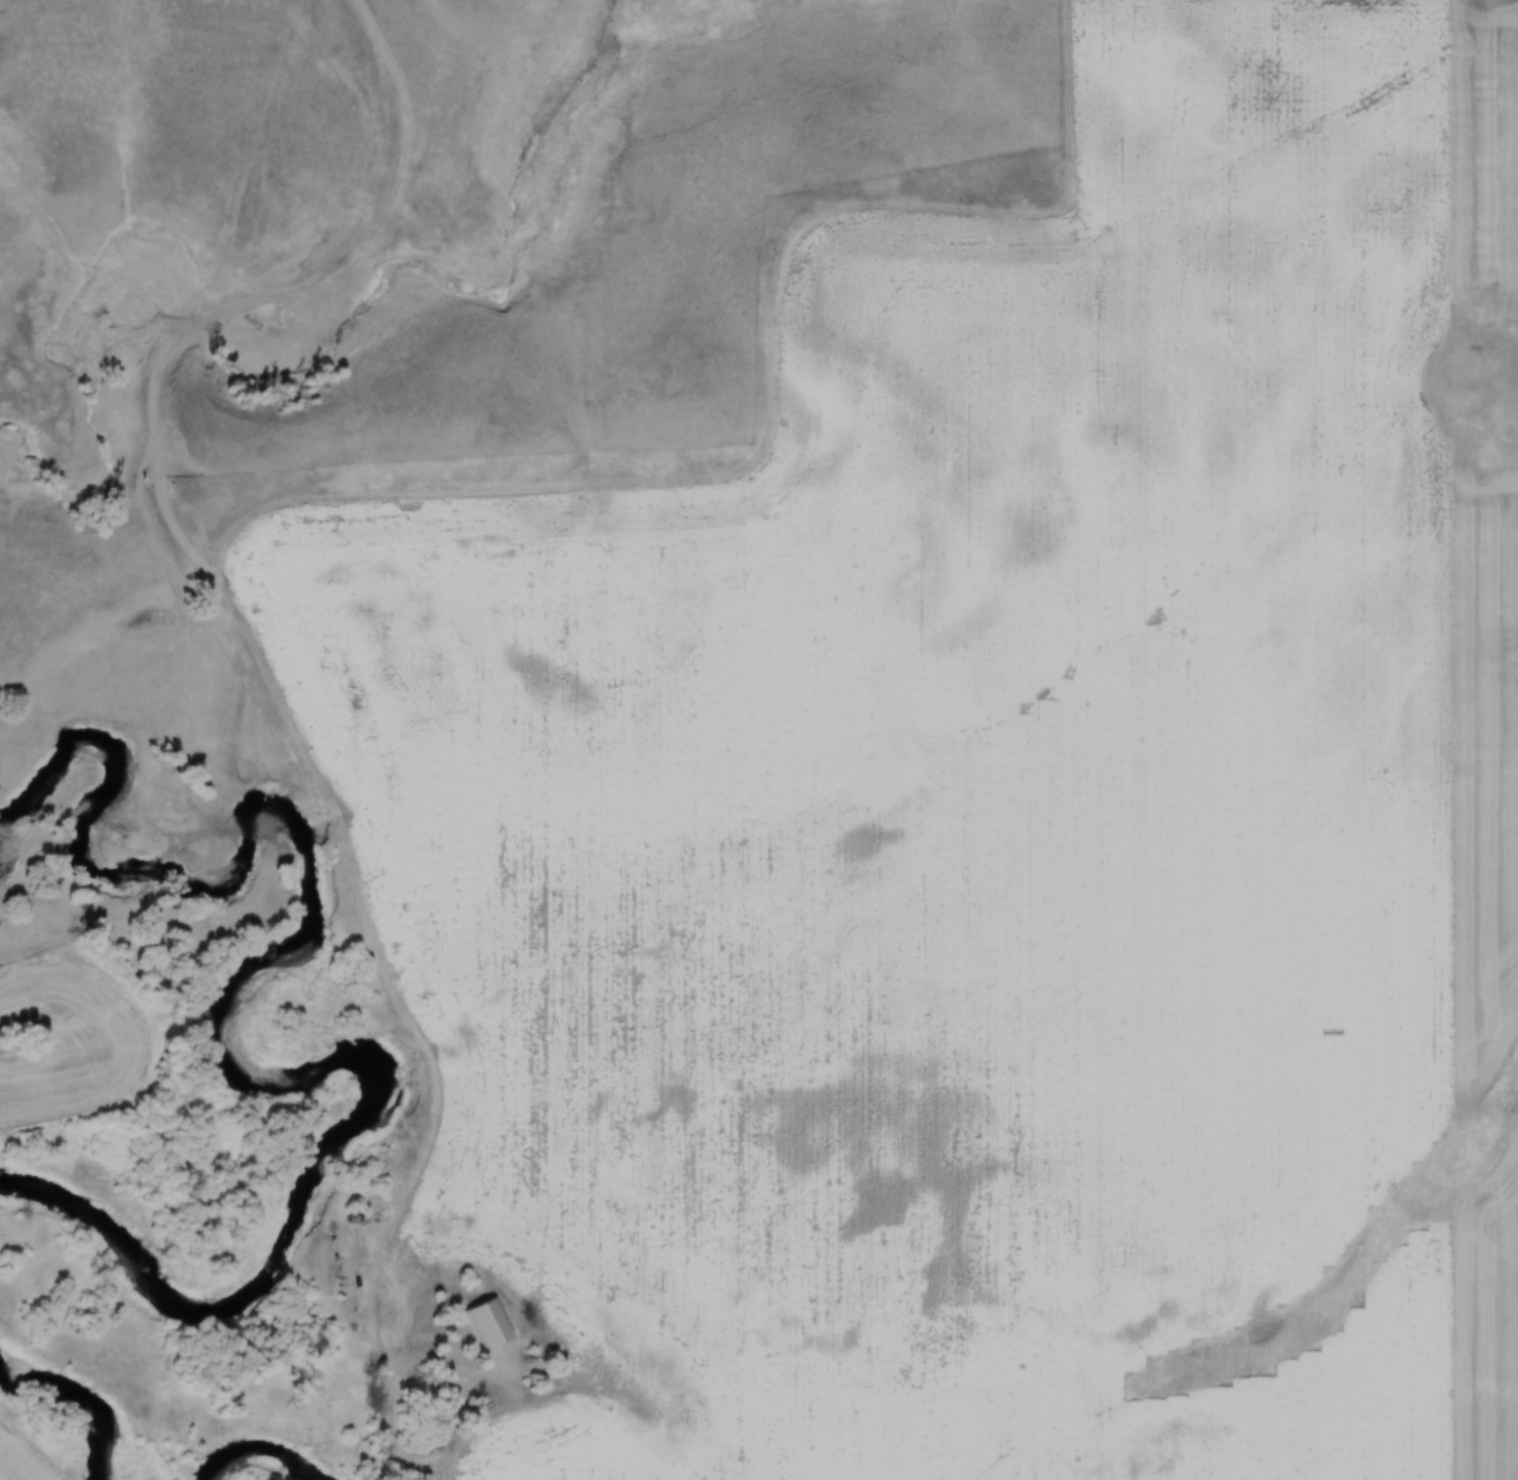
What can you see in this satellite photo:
road: (273, 674)
building: (490, 1324)

